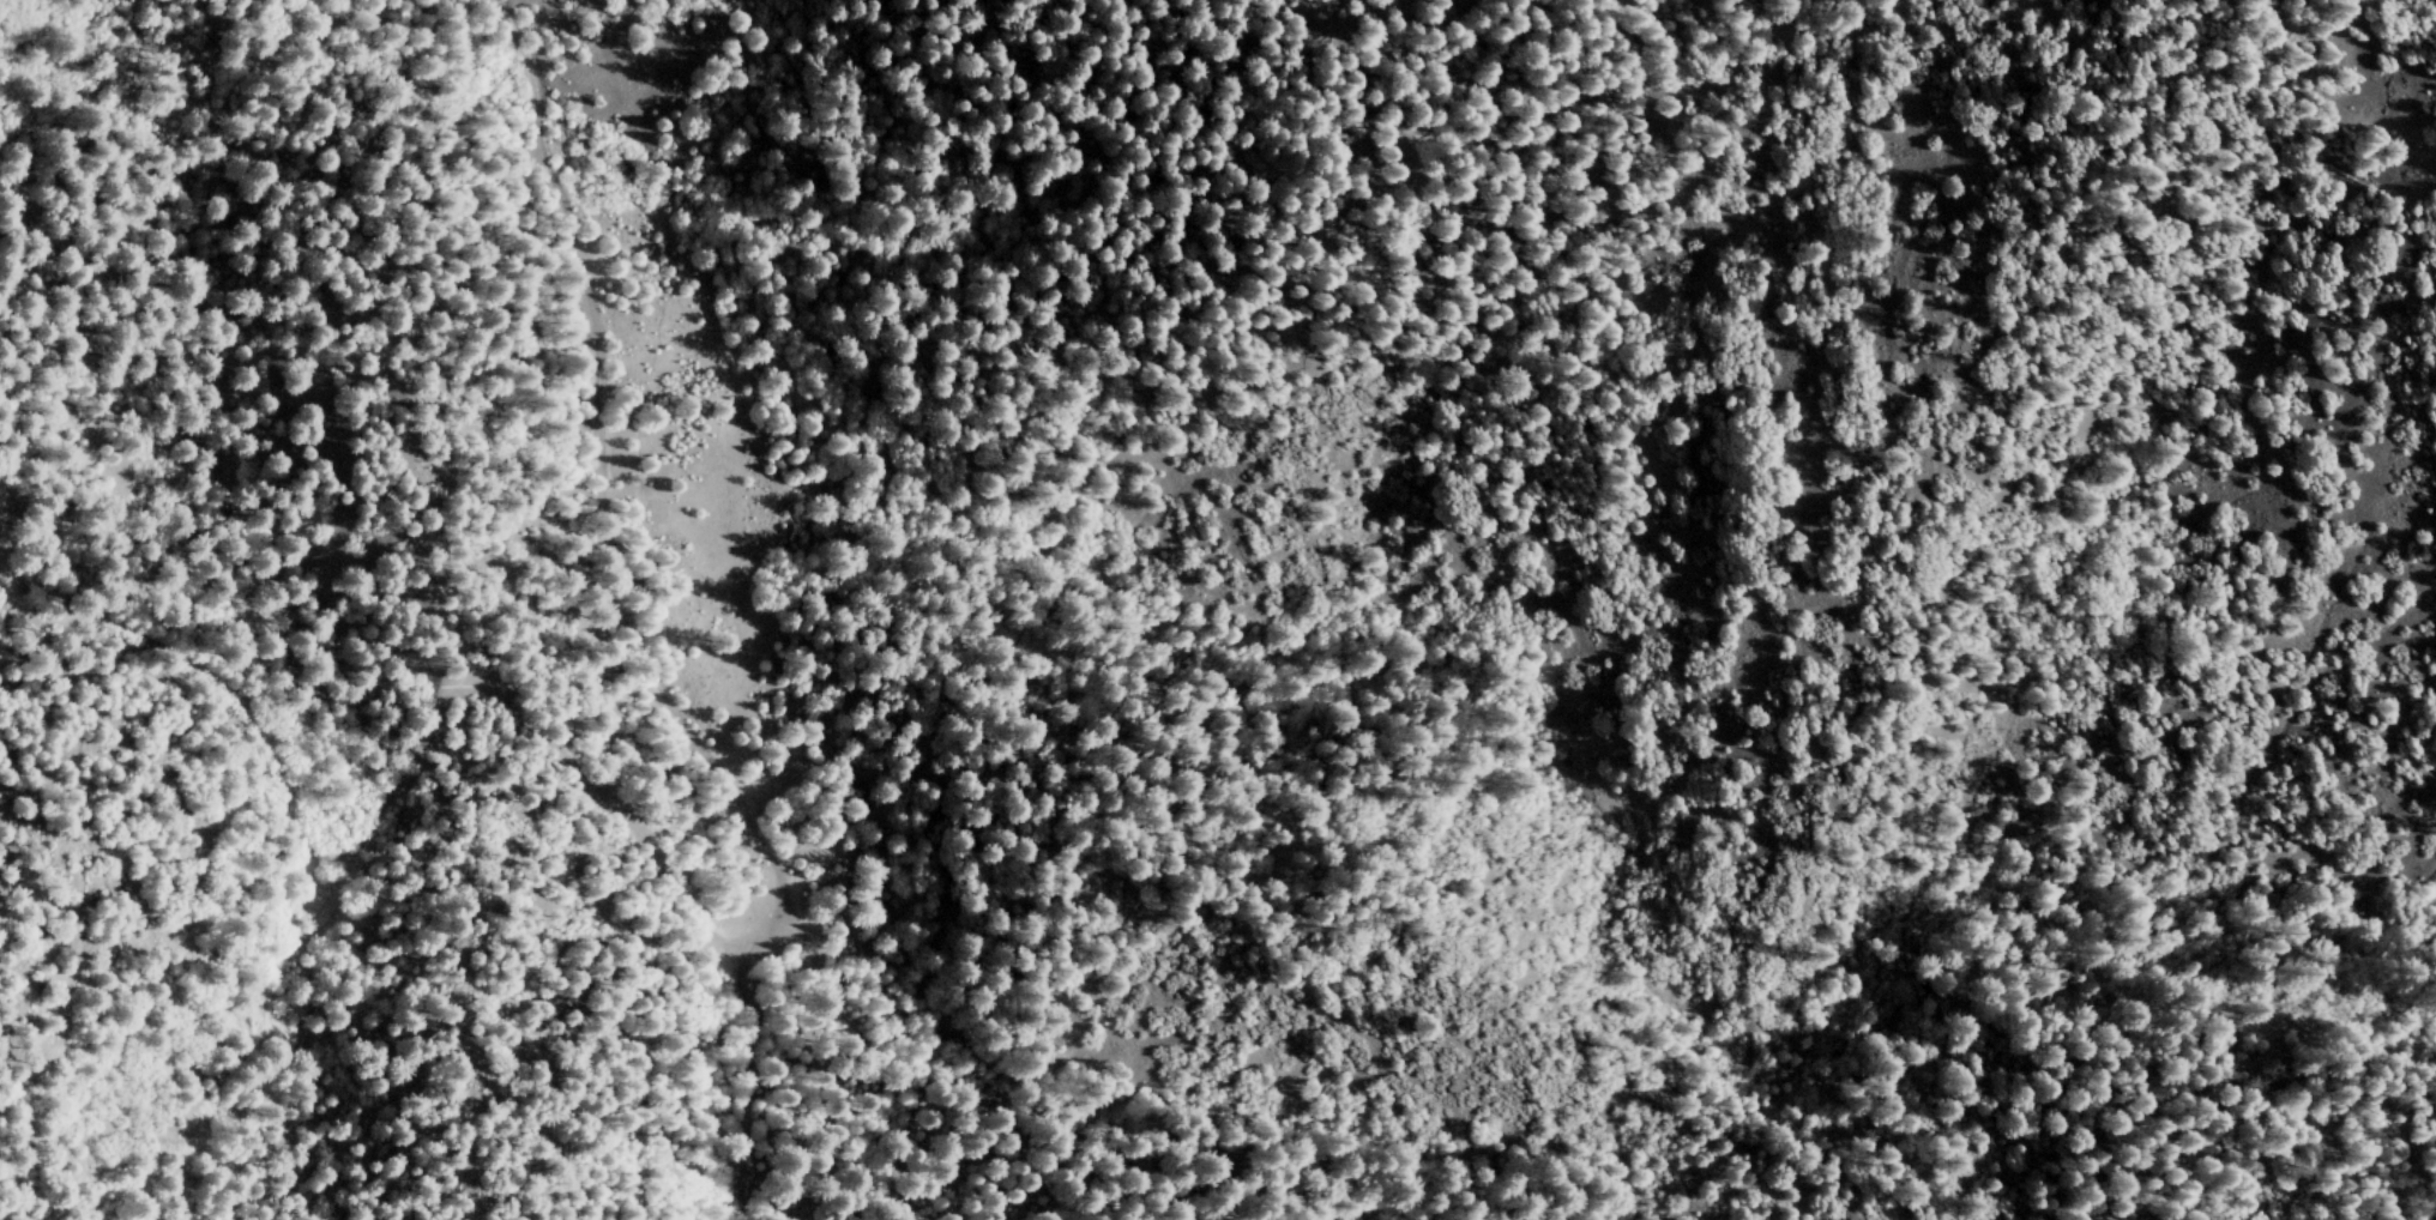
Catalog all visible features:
road: (742, 962)
road: (764, 1089)

